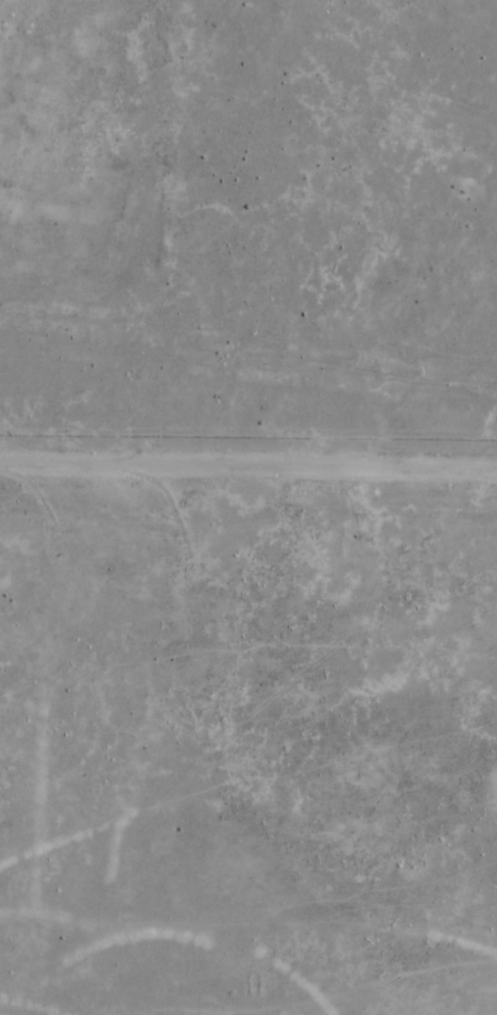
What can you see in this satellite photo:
road: (76, 84)
road: (247, 505)
road: (242, 745)

